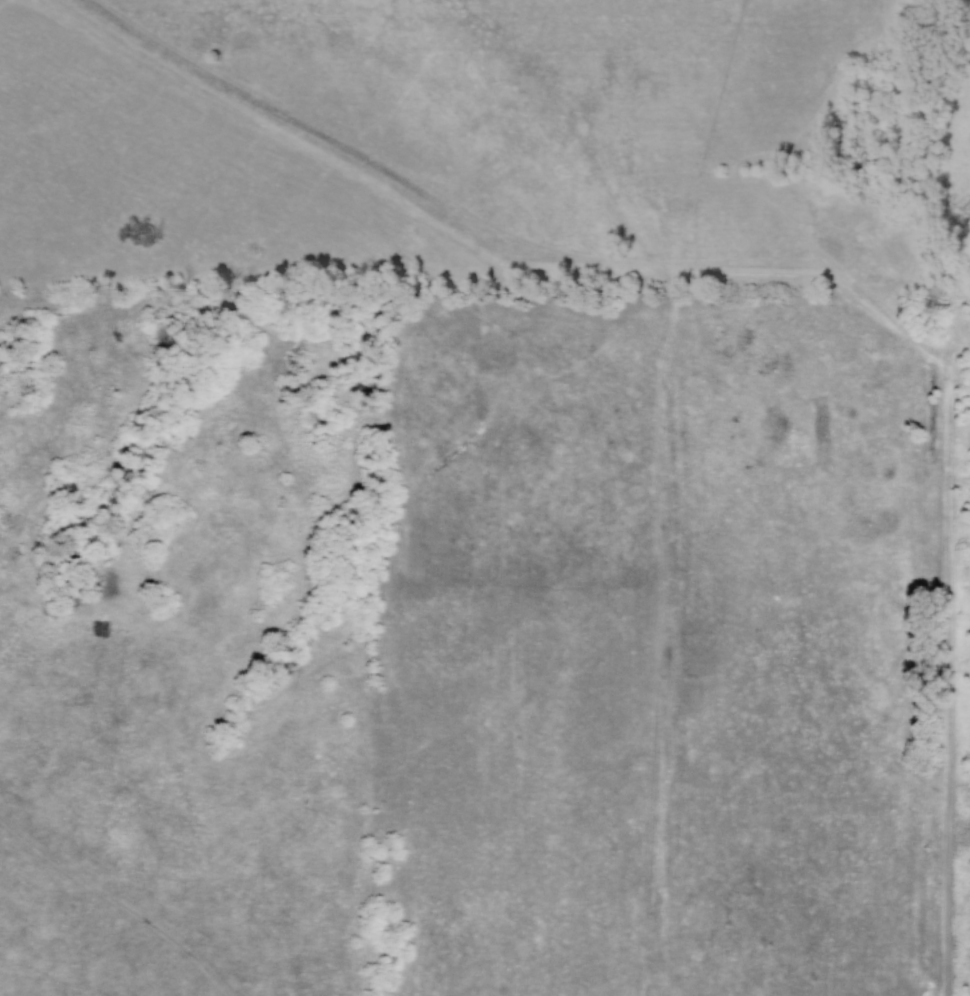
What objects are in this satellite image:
road: (820, 215)
road: (947, 693)

